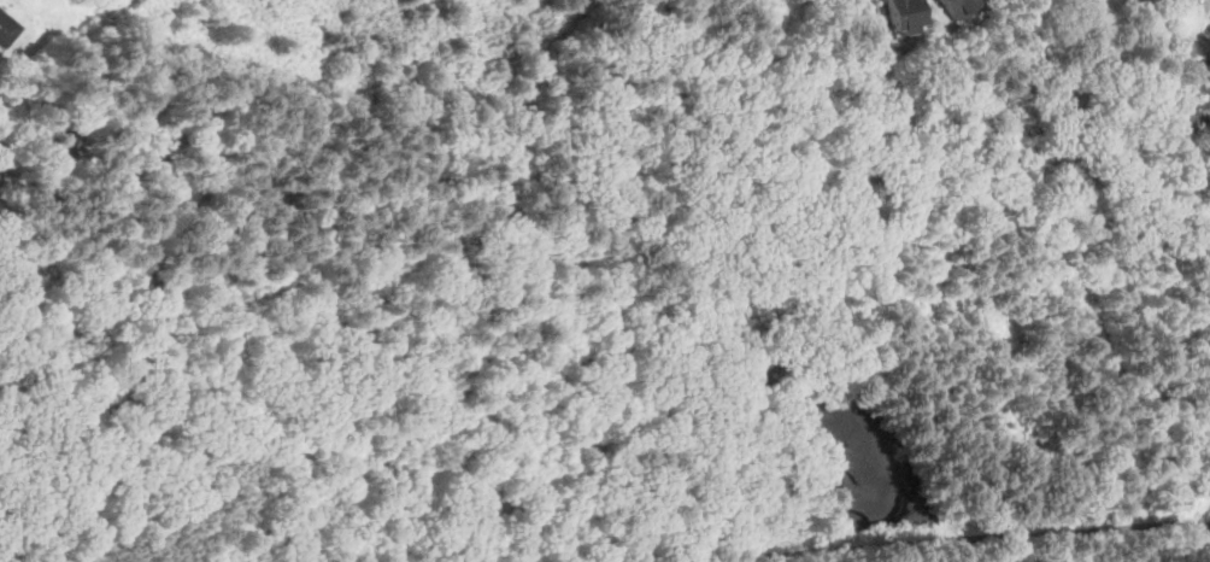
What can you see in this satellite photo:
building: (959, 6)
building: (903, 14)
building: (7, 28)
building: (66, 146)
road: (989, 537)

